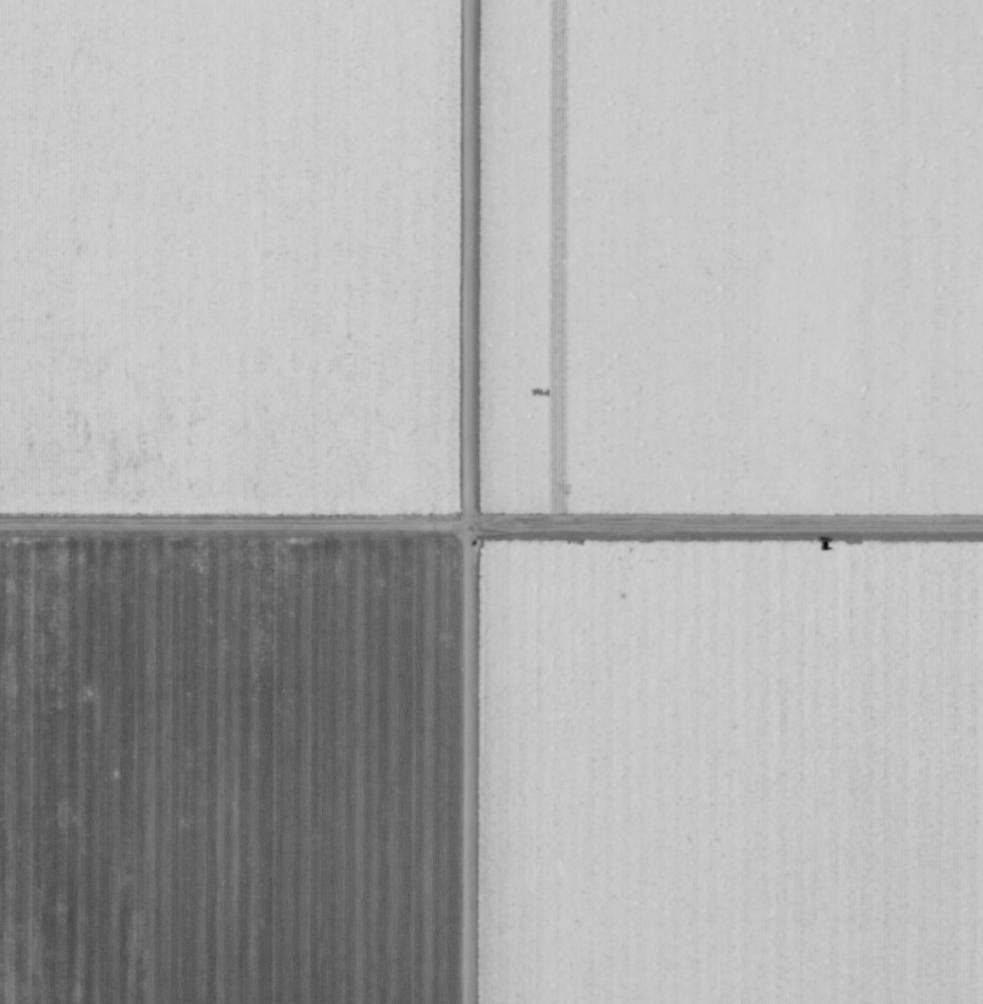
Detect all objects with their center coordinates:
crop: (729, 265)
road: (468, 502)
crop: (401, 590)

